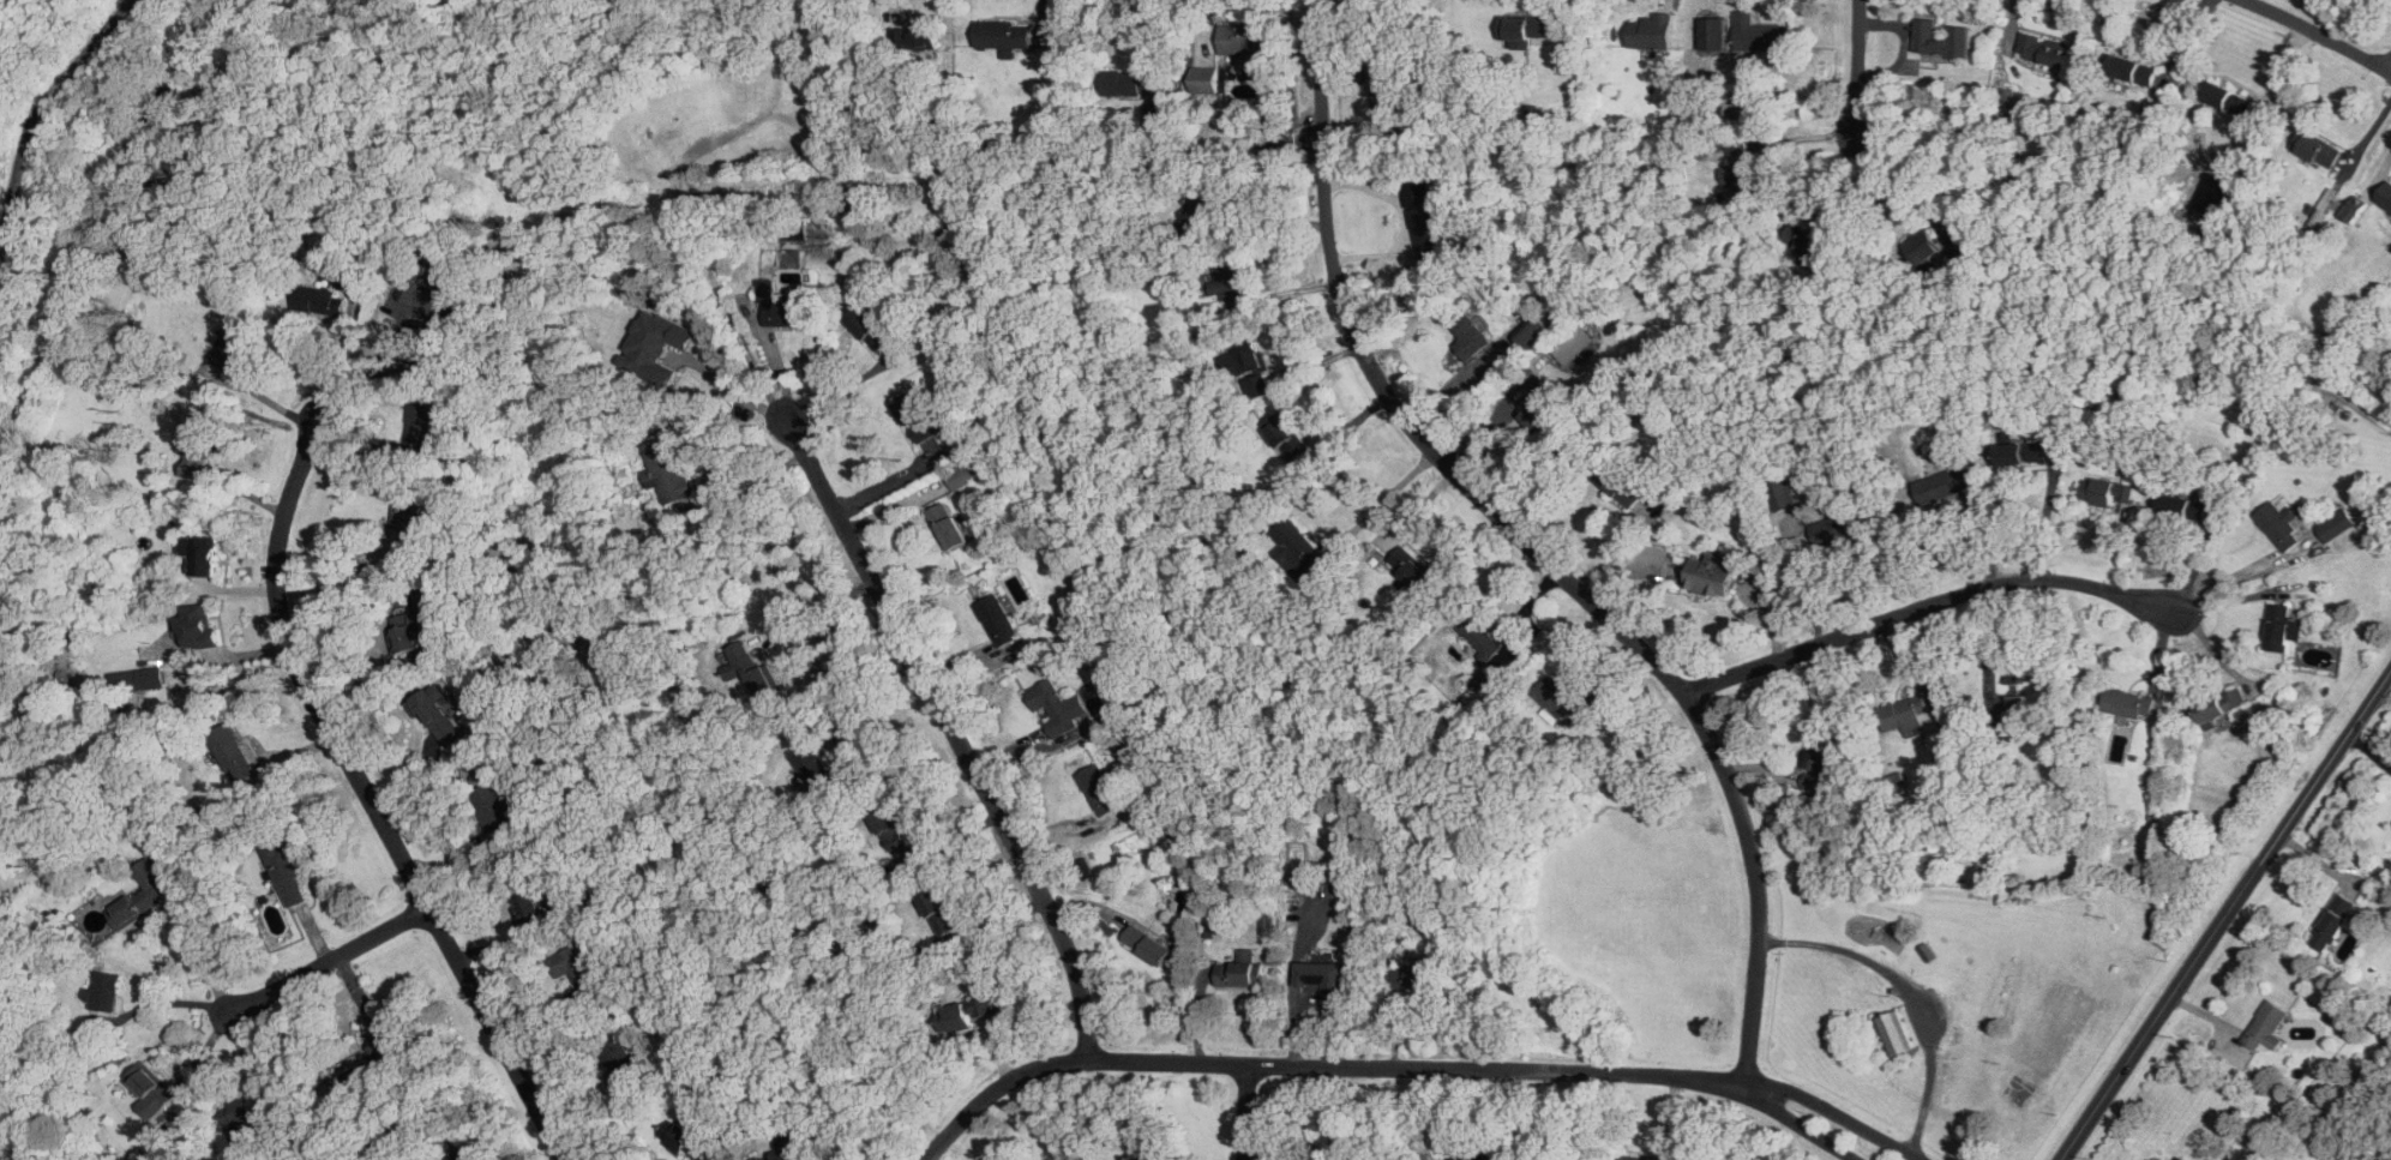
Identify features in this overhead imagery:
building: (1527, 28)
road: (1146, 29)
building: (1657, 32)
building: (1712, 32)
building: (1761, 32)
road: (2320, 34)
building: (917, 35)
building: (1009, 36)
building: (1945, 44)
building: (2048, 50)
building: (1244, 54)
road: (2390, 70)
road: (1860, 72)
building: (2133, 72)
building: (1128, 82)
building: (1390, 101)
building: (2233, 102)
building: (2008, 103)
road: (36, 113)
building: (2320, 150)
building: (1254, 151)
building: (1771, 157)
road: (1326, 162)
building: (1742, 175)
building: (2386, 197)
road: (1404, 221)
building: (1443, 221)
building: (1424, 223)
building: (1808, 241)
building: (1929, 246)
building: (1965, 254)
building: (1238, 286)
building: (331, 305)
building: (438, 308)
building: (788, 308)
building: (872, 330)
building: (1534, 333)
building: (1471, 337)
building: (236, 344)
building: (1574, 345)
building: (659, 347)
road: (774, 361)
building: (1262, 374)
road: (741, 395)
building: (921, 421)
building: (1546, 421)
building: (415, 437)
building: (1291, 441)
building: (203, 449)
building: (2021, 453)
building: (674, 473)
building: (962, 475)
building: (1945, 481)
road: (758, 486)
building: (1620, 487)
building: (1783, 493)
building: (2108, 494)
road: (1389, 500)
building: (2186, 506)
road: (2047, 516)
building: (415, 522)
building: (2282, 524)
building: (2336, 525)
building: (1838, 527)
building: (948, 528)
building: (1306, 546)
building: (204, 555)
building: (1716, 575)
building: (1420, 577)
road: (2225, 579)
road: (2012, 582)
road: (822, 606)
building: (1002, 623)
building: (2281, 624)
building: (198, 625)
building: (403, 630)
building: (1482, 632)
road: (230, 657)
road: (1652, 660)
road: (1771, 662)
building: (752, 669)
building: (2030, 675)
building: (137, 684)
building: (2036, 692)
road: (2384, 695)
building: (1566, 701)
building: (2131, 702)
building: (2221, 702)
road: (877, 707)
building: (1059, 709)
building: (1906, 710)
building: (438, 716)
road: (959, 738)
building: (234, 759)
building: (817, 769)
building: (1819, 769)
road: (2323, 771)
building: (1101, 791)
building: (1791, 795)
road: (371, 800)
building: (515, 811)
building: (498, 812)
building: (902, 837)
building: (287, 870)
building: (144, 896)
building: (535, 908)
building: (945, 916)
building: (2331, 922)
building: (1151, 946)
road: (332, 960)
road: (203, 964)
building: (576, 968)
building: (1240, 969)
building: (1327, 975)
building: (1418, 976)
building: (108, 993)
road: (1909, 994)
road: (175, 1003)
building: (968, 1015)
road: (2157, 1016)
building: (2266, 1026)
building: (1893, 1033)
building: (382, 1046)
building: (620, 1058)
road: (1335, 1065)
building: (362, 1070)
building: (158, 1099)
building: (241, 1110)
road: (1248, 1112)
road: (1851, 1120)
building: (1332, 1124)
road: (1808, 1134)
building: (678, 1135)
building: (2169, 1153)
building: (463, 1155)
building: (786, 1155)
building: (1652, 1155)
building: (1141, 1158)
building: (1479, 1158)
building: (1633, 1158)

